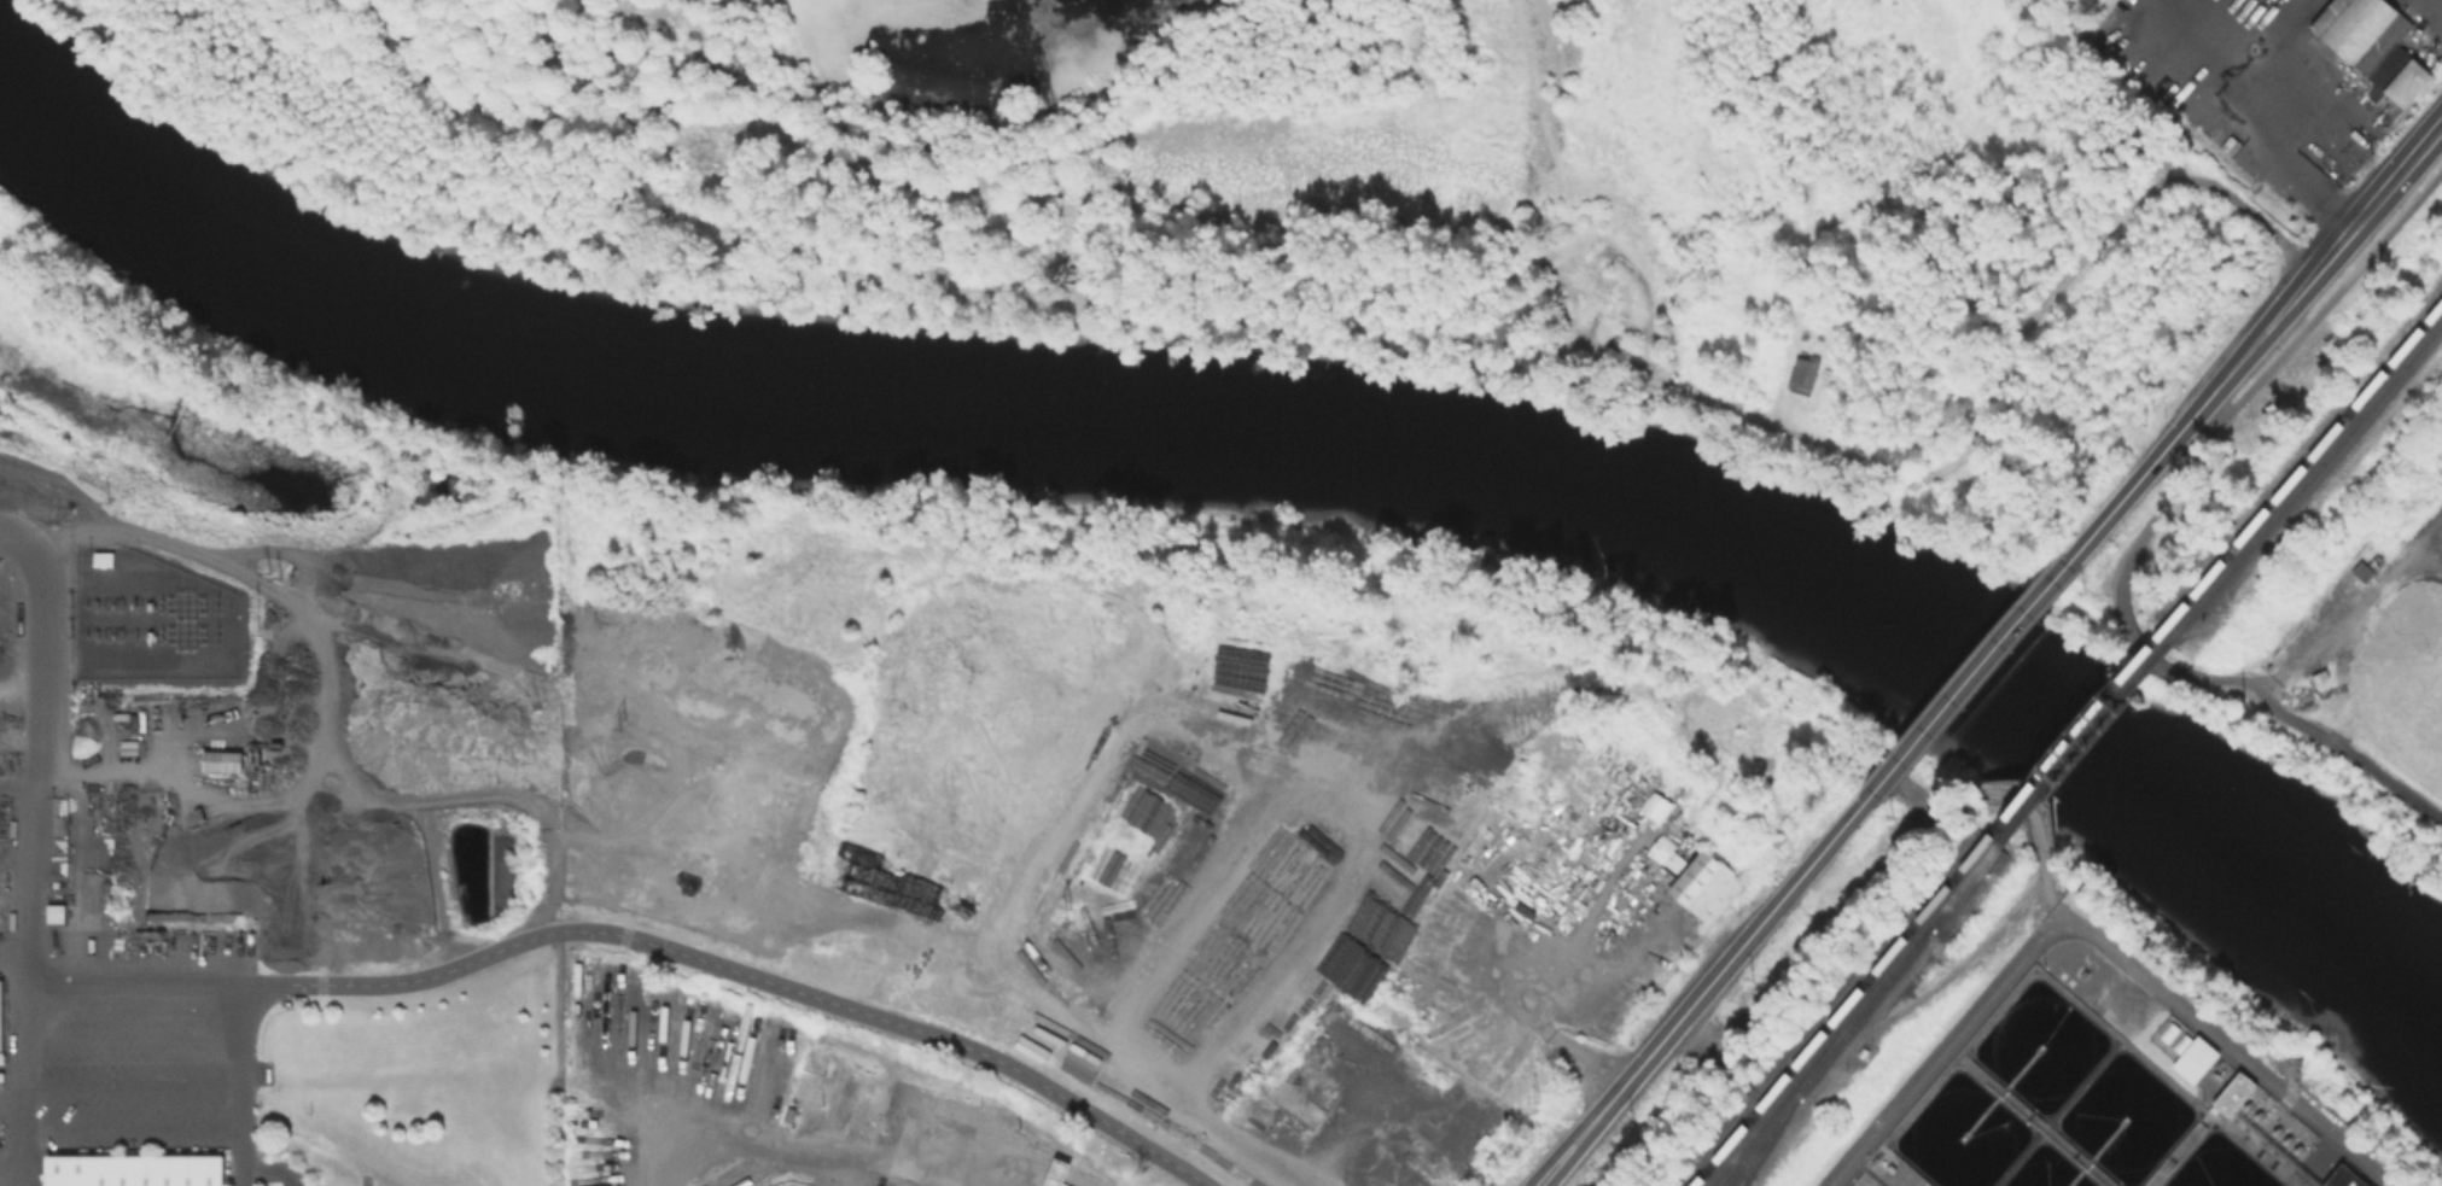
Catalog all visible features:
road: (2275, 14)
road: (2306, 14)
building: (2370, 46)
road: (2242, 138)
road: (2310, 275)
road: (2324, 309)
building: (1807, 368)
road: (1982, 407)
road: (2191, 437)
railway: (2301, 466)
road: (2184, 469)
railway: (2306, 479)
road: (2125, 493)
building: (100, 556)
road: (2125, 567)
building: (2365, 572)
power substation: (151, 619)
wastewater plant: (2380, 639)
road: (1970, 674)
building: (2321, 677)
road: (1178, 717)
road: (2289, 717)
railway: (2074, 735)
railway: (2082, 742)
building: (221, 760)
building: (1654, 805)
road: (33, 845)
road: (1892, 867)
building: (1703, 886)
building: (54, 912)
road: (2098, 935)
road: (640, 940)
road: (1968, 954)
road: (1576, 977)
road: (1706, 989)
railway: (1837, 1011)
railway: (1849, 1015)
building: (0, 1017)
road: (135, 1035)
building: (1860, 1050)
railway: (1823, 1056)
building: (2195, 1056)
road: (135, 1081)
building: (805, 1083)
road: (244, 1085)
wastewater plant: (2109, 1085)
building: (2232, 1091)
road: (135, 1127)
railway: (1761, 1140)
road: (1242, 1145)
road: (783, 1147)
building: (133, 1169)
building: (2343, 1178)

